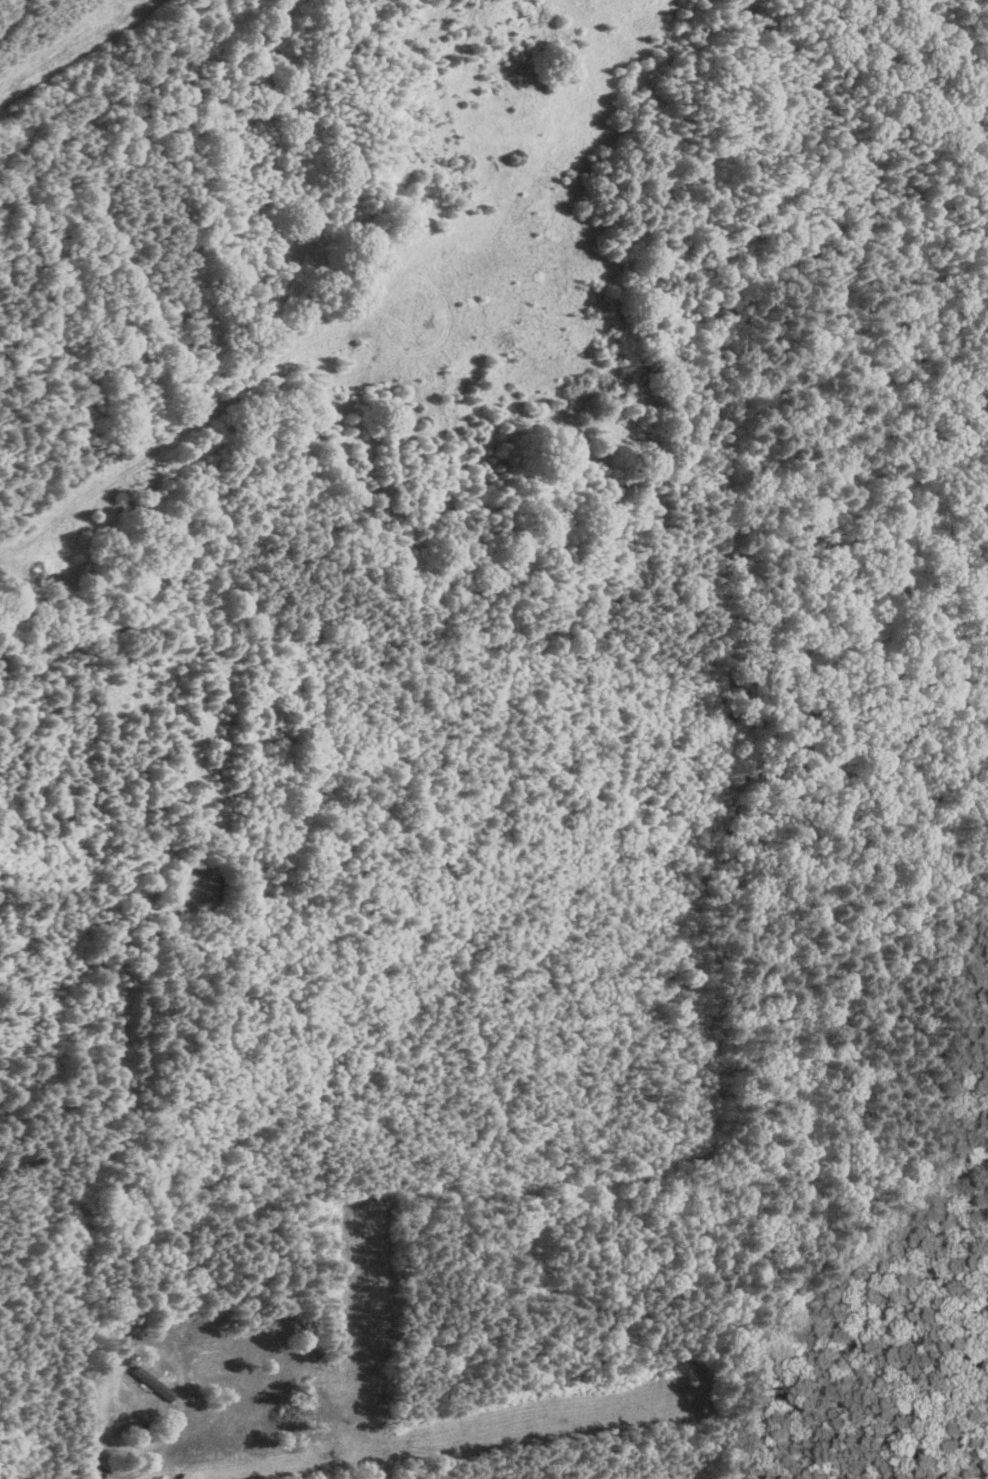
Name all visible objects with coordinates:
road: (117, 1437)

